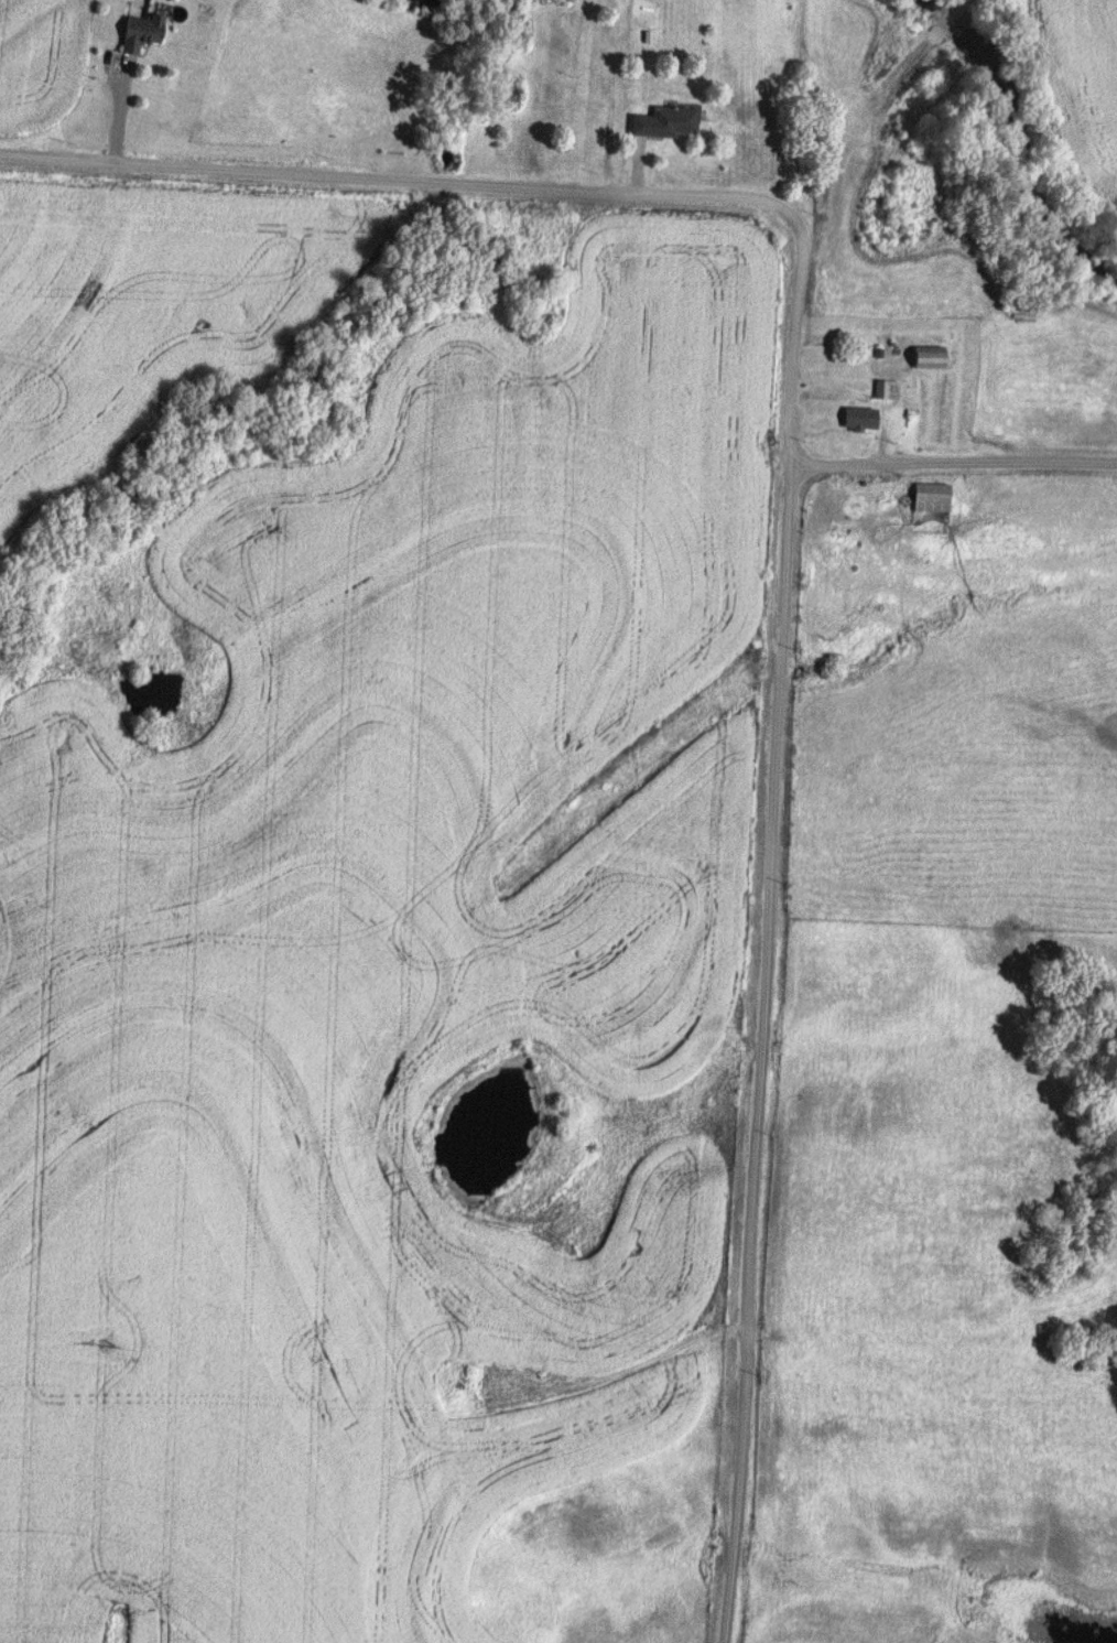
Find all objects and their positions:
building: (138, 34)
building: (661, 123)
road: (523, 183)
building: (924, 358)
building: (882, 390)
building: (856, 419)
building: (935, 419)
road: (954, 454)
building: (928, 498)
road: (763, 1050)
building: (378, 1274)
road: (542, 1396)

